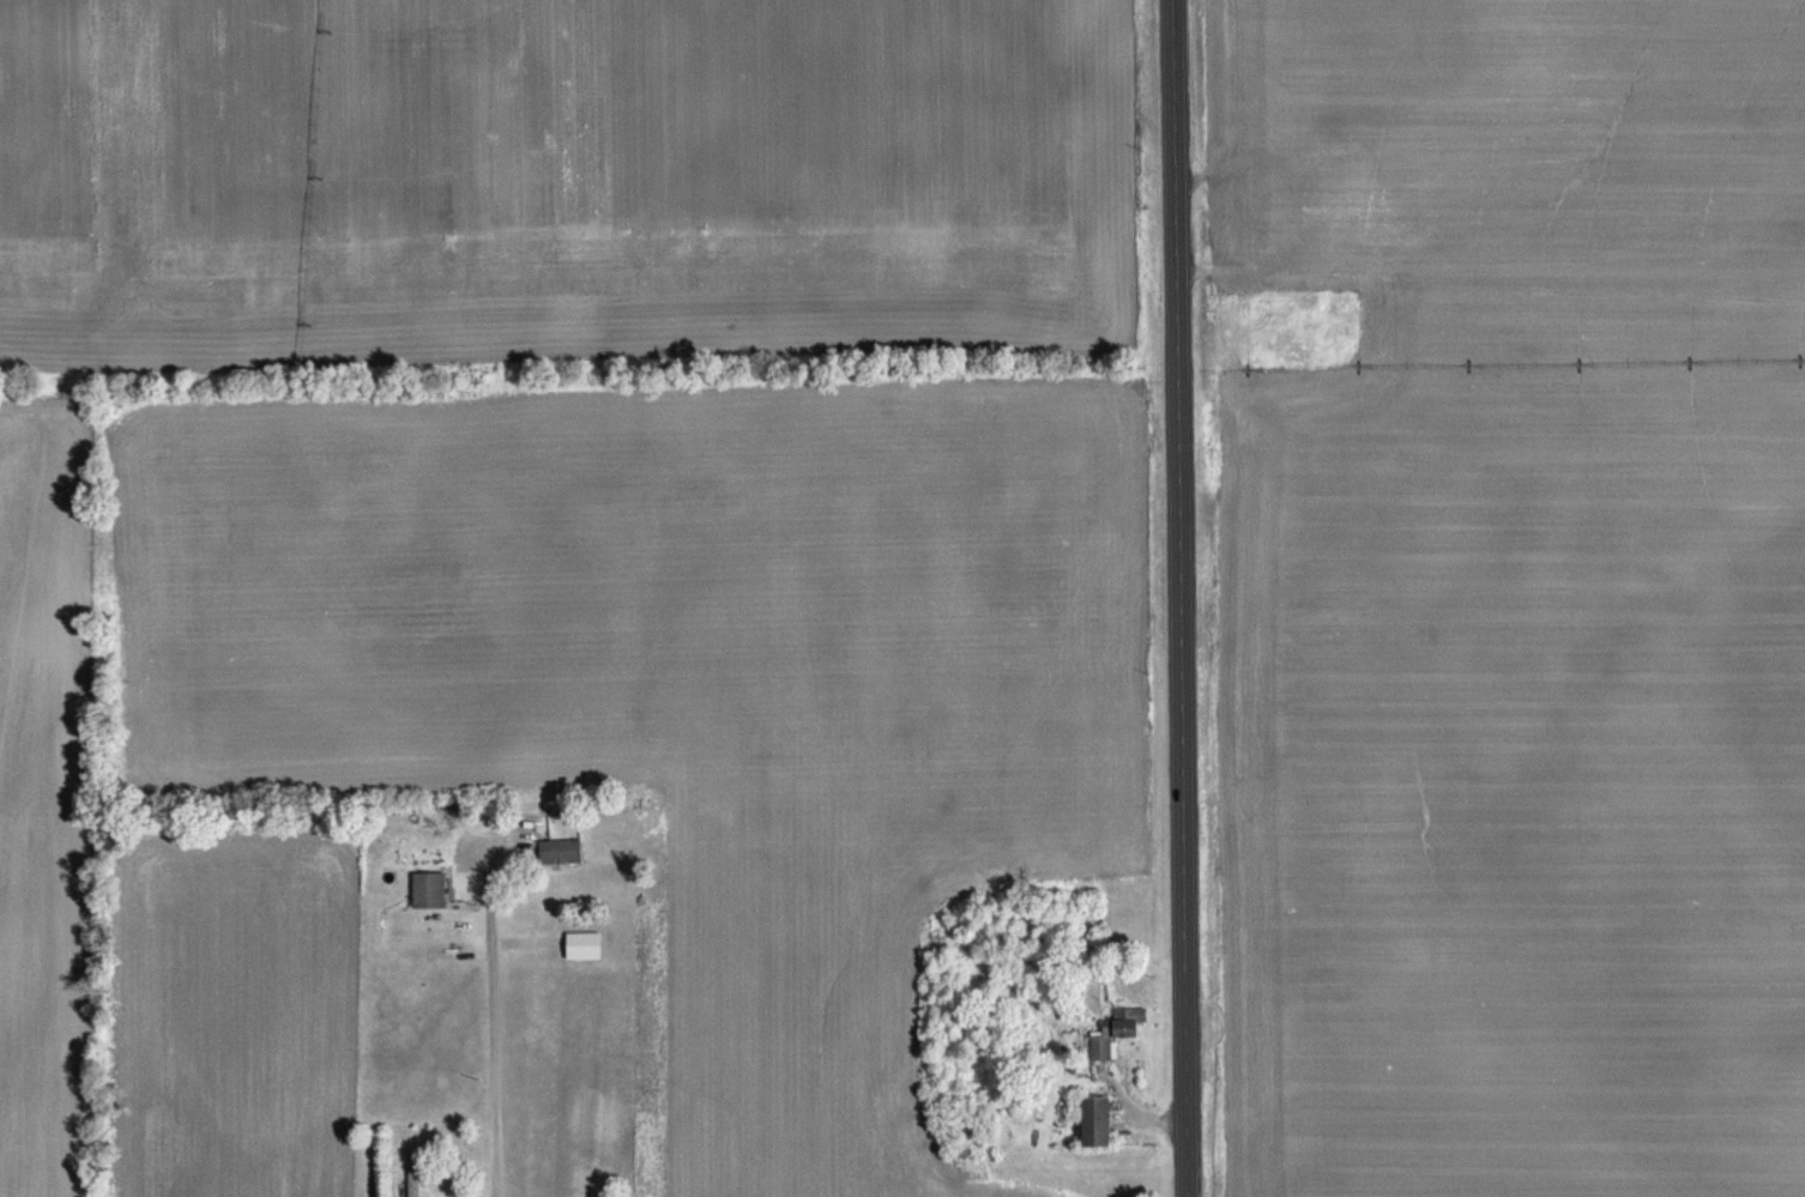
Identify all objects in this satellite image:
building: (1335, 180)
building: (1251, 238)
road: (1183, 598)
building: (557, 852)
building: (427, 890)
building: (581, 945)
building: (1115, 1030)
building: (1093, 1123)
building: (413, 1173)

